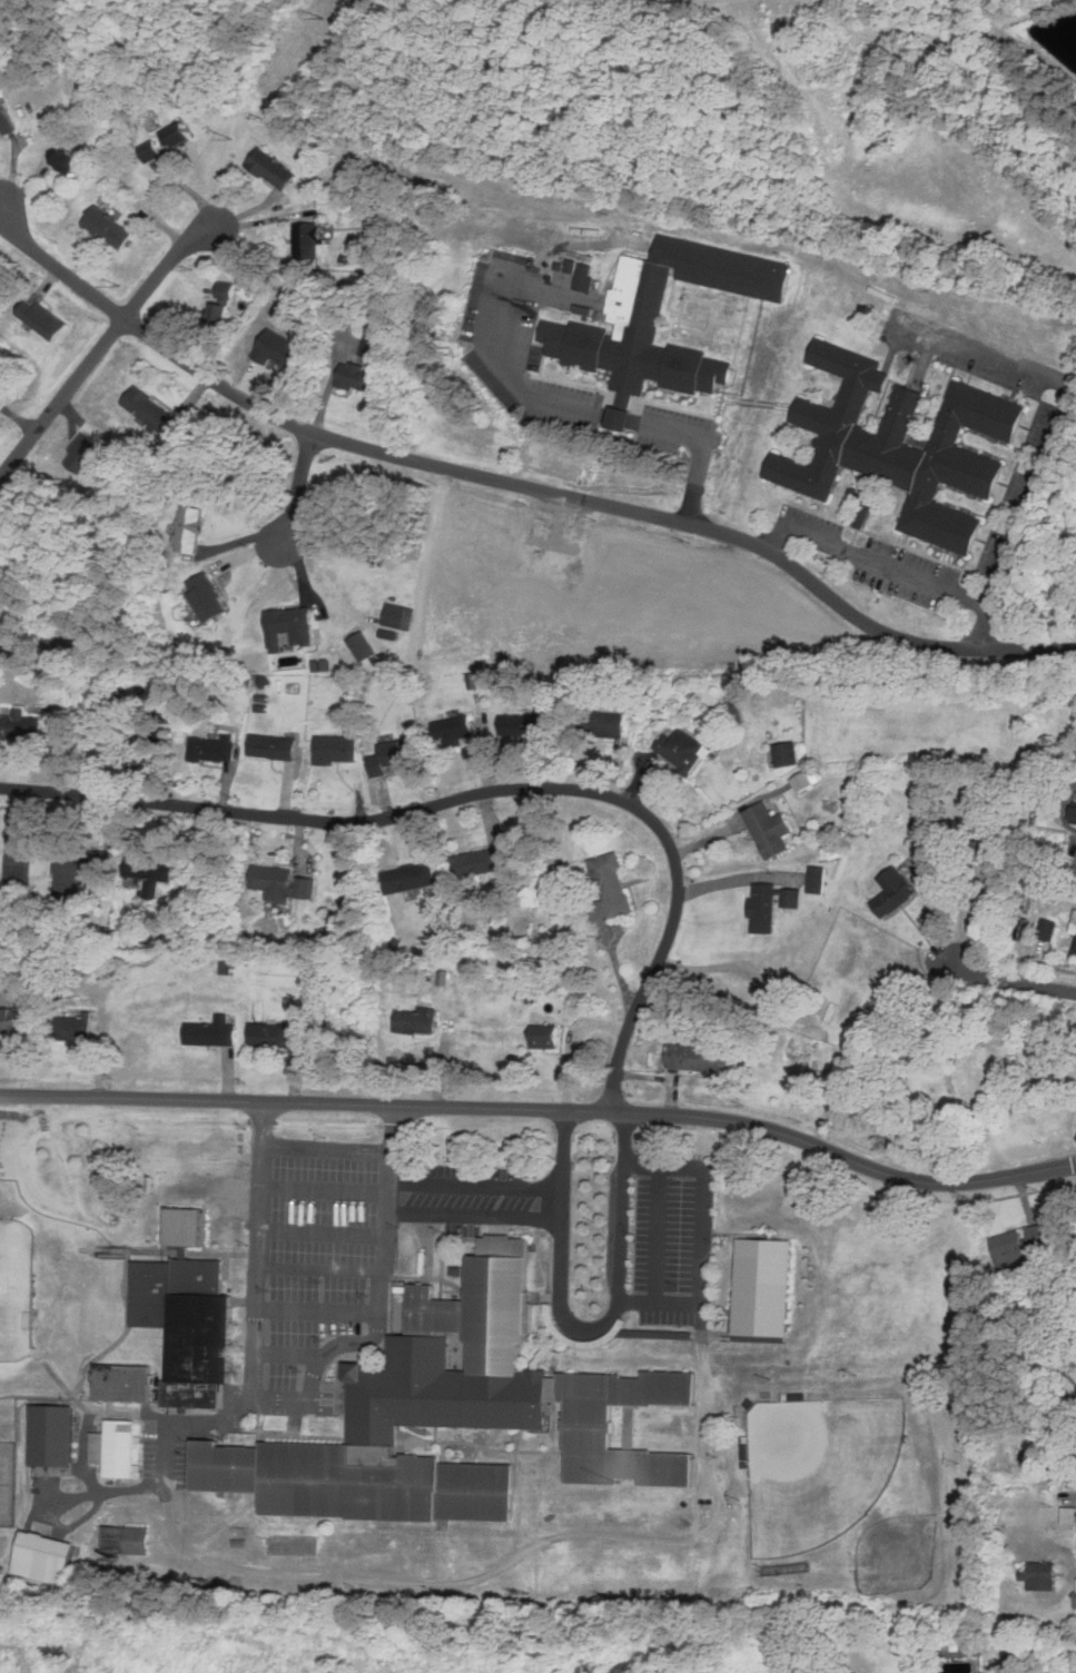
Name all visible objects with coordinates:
building: (4, 120)
building: (176, 131)
building: (149, 149)
building: (61, 158)
building: (268, 166)
building: (107, 226)
building: (305, 237)
building: (224, 288)
building: (220, 310)
building: (635, 337)
road: (101, 344)
building: (371, 347)
building: (353, 374)
road: (529, 396)
building: (149, 410)
building: (828, 417)
road: (1053, 442)
building: (886, 448)
building: (957, 463)
road: (515, 482)
road: (298, 488)
building: (187, 527)
road: (876, 560)
building: (204, 596)
building: (288, 625)
building: (361, 645)
building: (525, 721)
building: (601, 723)
building: (19, 725)
building: (451, 729)
building: (270, 746)
building: (211, 748)
building: (334, 748)
building: (681, 749)
building: (784, 753)
building: (392, 754)
building: (801, 781)
road: (481, 795)
building: (1074, 814)
building: (768, 828)
park: (17, 847)
building: (981, 850)
building: (478, 862)
building: (76, 869)
building: (146, 871)
building: (408, 878)
building: (817, 879)
building: (273, 881)
building: (610, 884)
building: (304, 887)
building: (892, 890)
building: (790, 898)
building: (763, 908)
building: (599, 910)
building: (1048, 929)
building: (1073, 943)
road: (1010, 980)
building: (10, 1020)
building: (417, 1021)
building: (72, 1028)
building: (211, 1032)
building: (276, 1035)
building: (543, 1037)
building: (697, 1058)
road: (544, 1108)
road: (327, 1147)
road: (476, 1185)
road: (325, 1189)
road: (475, 1216)
building: (181, 1228)
road: (324, 1231)
road: (657, 1234)
building: (1021, 1246)
building: (503, 1247)
road: (561, 1249)
road: (322, 1269)
building: (455, 1270)
building: (195, 1277)
park: (14, 1287)
stadium: (30, 1289)
building: (763, 1291)
building: (149, 1296)
road: (673, 1303)
road: (317, 1309)
building: (432, 1313)
building: (495, 1315)
building: (654, 1335)
building: (572, 1338)
building: (198, 1339)
road: (289, 1354)
building: (121, 1383)
building: (551, 1389)
building: (652, 1390)
building: (189, 1395)
building: (435, 1395)
road: (302, 1399)
building: (585, 1399)
building: (1063, 1425)
building: (50, 1436)
building: (113, 1448)
building: (373, 1457)
building: (589, 1458)
building: (629, 1465)
park: (817, 1466)
building: (223, 1469)
building: (664, 1469)
park: (7, 1479)
building: (342, 1485)
building: (474, 1493)
building: (1067, 1515)
building: (125, 1541)
building: (415, 1550)
building: (446, 1551)
park: (896, 1553)
building: (42, 1560)
building: (1040, 1574)
road: (458, 1581)
building: (1075, 1602)

